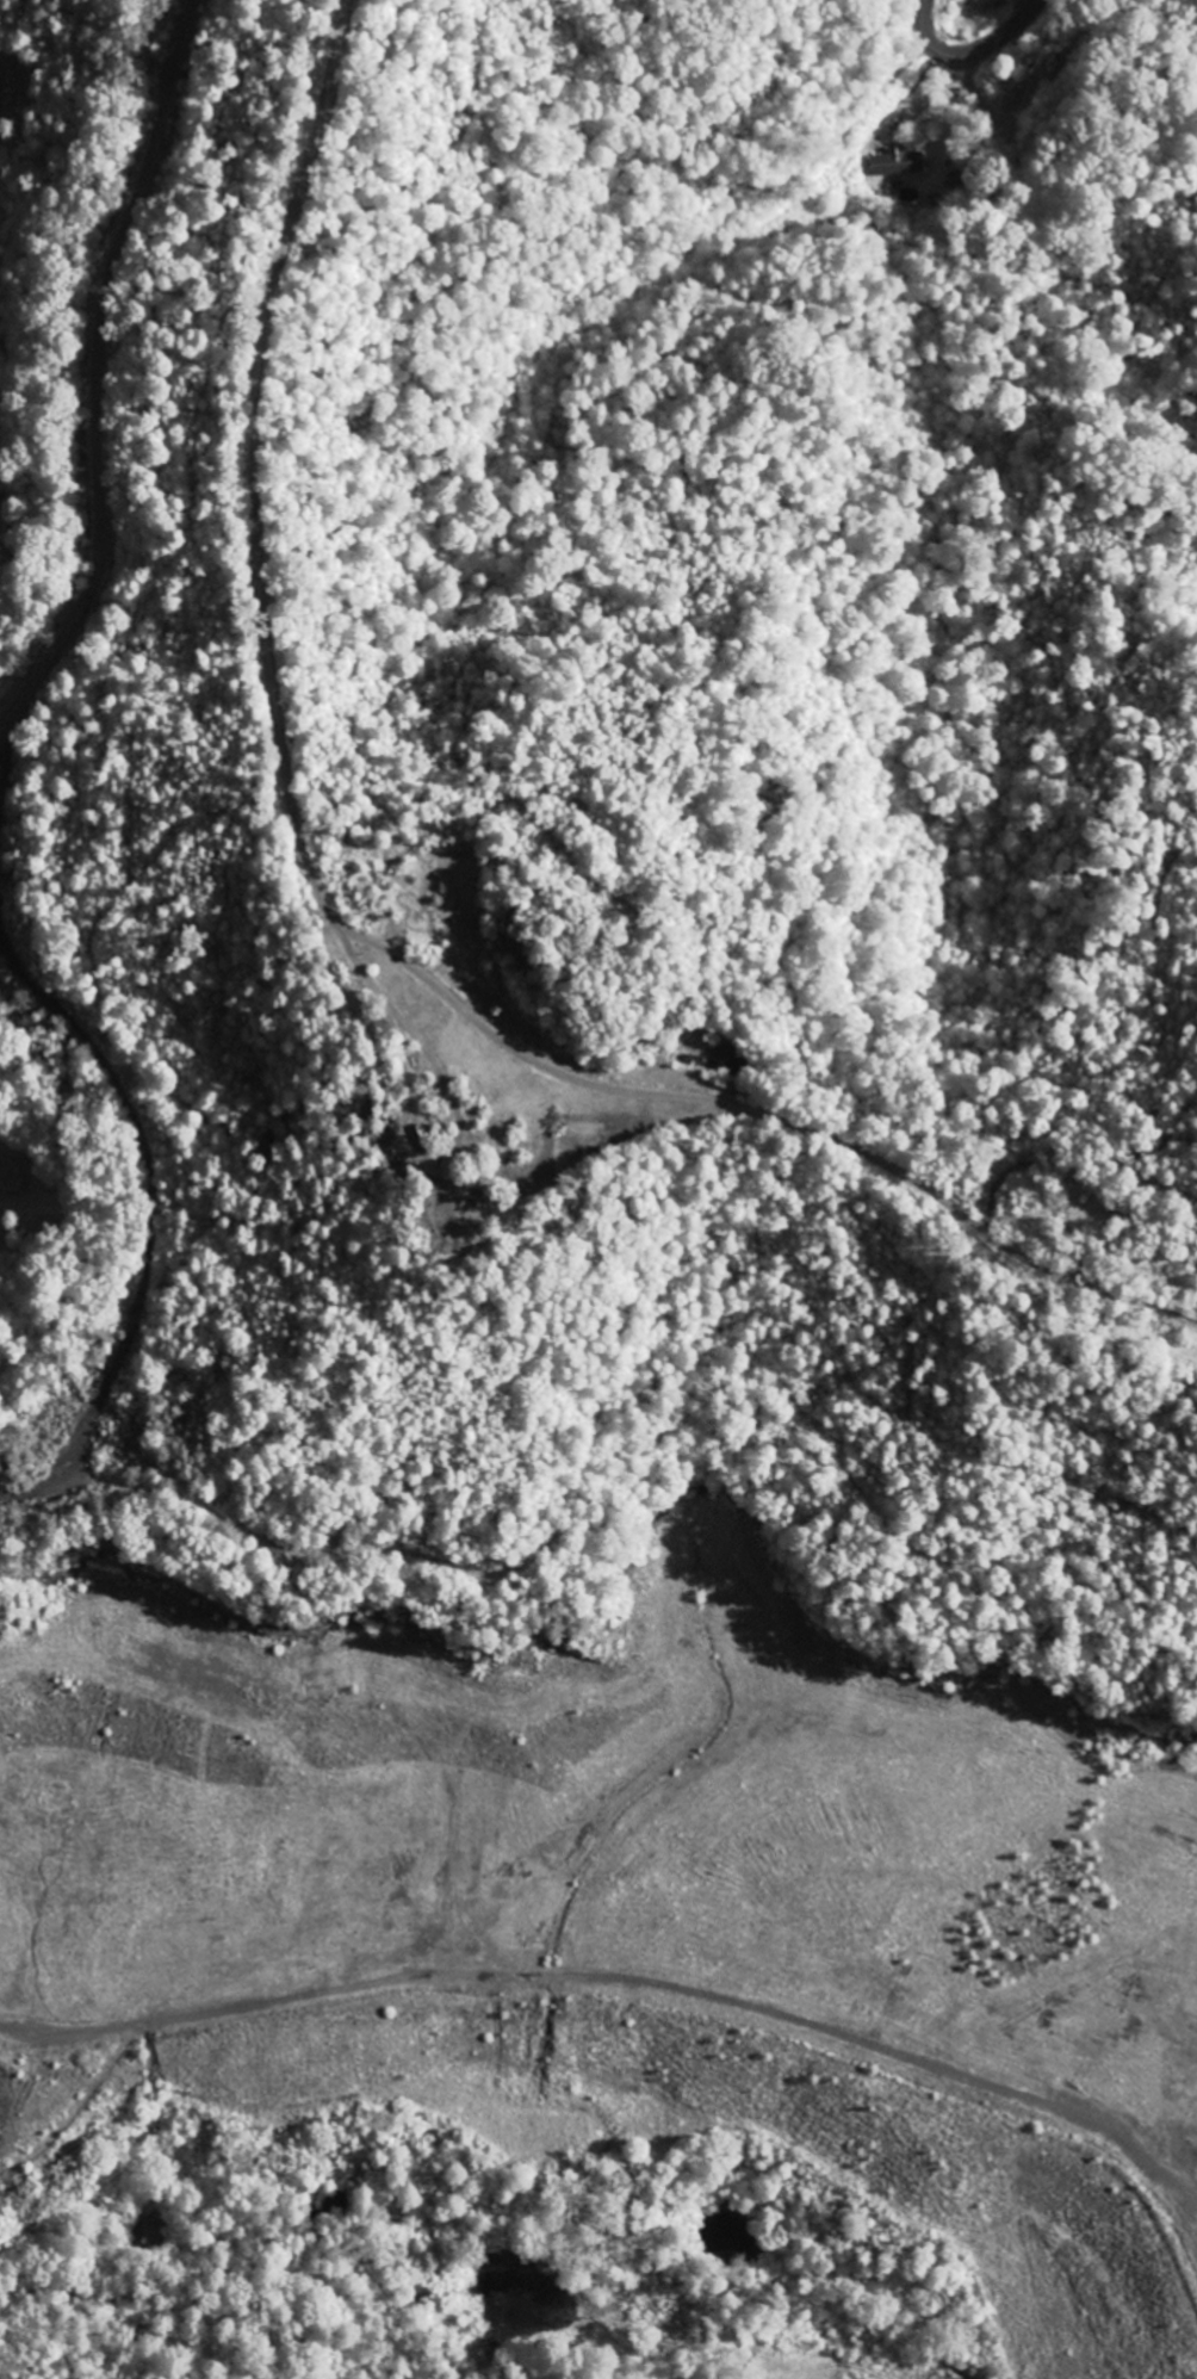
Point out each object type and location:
road: (970, 52)
building: (895, 162)
building: (430, 1140)

